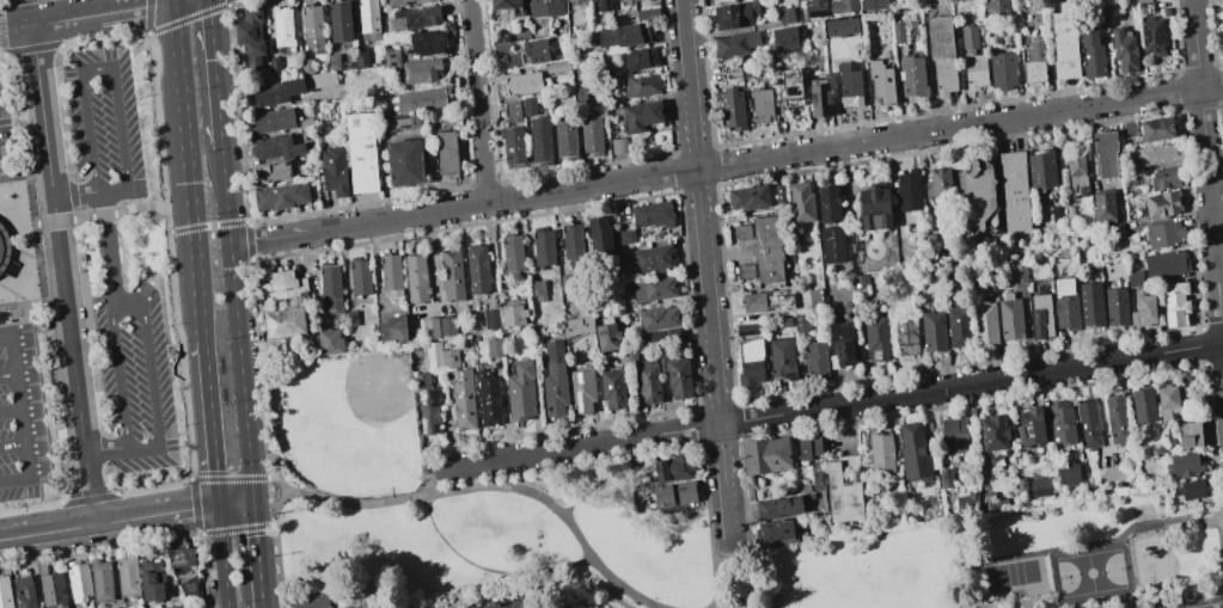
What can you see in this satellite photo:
building: (422, 0)
building: (573, 0)
building: (591, 0)
building: (636, 0)
building: (1142, 0)
building: (396, 2)
building: (505, 4)
building: (875, 4)
park: (5, 5)
building: (603, 5)
building: (843, 6)
building: (995, 6)
traffic signals: (143, 7)
building: (545, 7)
building: (815, 8)
building: (1144, 8)
building: (1221, 12)
building: (647, 13)
building: (740, 14)
building: (785, 14)
road: (87, 16)
traffic signals: (210, 17)
building: (414, 18)
road: (1, 19)
building: (338, 20)
building: (367, 20)
building: (282, 26)
building: (312, 27)
building: (1222, 33)
rooftop solar panel: (1146, 35)
building: (250, 36)
building: (623, 36)
building: (787, 36)
building: (1151, 37)
rooftop solar panel: (417, 39)
rooftop solar panel: (439, 39)
building: (1066, 39)
building: (427, 42)
building: (500, 43)
building: (736, 44)
building: (1124, 49)
building: (528, 53)
building: (944, 53)
building: (1093, 53)
building: (361, 57)
building: (391, 59)
building: (641, 59)
building: (334, 61)
building: (1037, 61)
building: (305, 66)
building: (274, 67)
building: (556, 67)
road: (98, 69)
building: (418, 70)
building: (977, 70)
building: (1003, 70)
road: (214, 74)
building: (915, 75)
building: (323, 79)
building: (883, 82)
building: (521, 84)
building: (643, 86)
building: (794, 86)
building: (851, 86)
building: (275, 92)
building: (821, 98)
building: (422, 99)
road: (478, 102)
building: (764, 104)
building: (527, 106)
building: (735, 109)
building: (512, 111)
building: (644, 117)
building: (271, 121)
building: (397, 121)
parking lot: (104, 124)
building: (305, 124)
parking lot: (6, 125)
building: (1129, 129)
building: (1157, 129)
building: (592, 135)
building: (567, 139)
building: (540, 140)
building: (513, 146)
building: (618, 146)
building: (276, 148)
building: (362, 153)
building: (445, 153)
building: (1107, 154)
building: (1158, 154)
road: (4, 159)
building: (404, 162)
road: (726, 165)
road: (190, 170)
building: (1041, 171)
road: (1207, 171)
building: (271, 172)
building: (334, 172)
building: (1076, 172)
building: (1164, 177)
building: (937, 184)
building: (909, 190)
building: (1015, 191)
road: (88, 192)
building: (779, 192)
building: (980, 194)
building: (281, 196)
building: (747, 197)
building: (827, 203)
building: (801, 205)
building: (1103, 205)
building: (1163, 205)
building: (874, 207)
road: (139, 211)
building: (653, 214)
building: (1056, 214)
building: (1069, 217)
building: (930, 221)
road: (18, 227)
building: (1114, 231)
building: (741, 232)
building: (1162, 234)
building: (599, 235)
building: (625, 237)
road: (60, 238)
building: (929, 239)
road: (18, 244)
building: (571, 244)
building: (831, 244)
road: (110, 245)
building: (542, 247)
building: (768, 248)
building: (513, 253)
building: (6, 254)
building: (650, 259)
building: (1164, 263)
rooftop solar panel: (12, 266)
building: (477, 269)
building: (1016, 270)
building: (746, 271)
road: (705, 272)
road: (158, 274)
building: (391, 275)
building: (452, 275)
building: (360, 277)
building: (416, 278)
building: (1133, 278)
building: (565, 282)
building: (860, 284)
building: (282, 285)
building: (330, 287)
building: (537, 288)
building: (654, 289)
building: (813, 297)
building: (753, 302)
building: (1090, 303)
building: (1174, 303)
building: (1065, 305)
building: (1117, 306)
building: (1143, 311)
building: (513, 312)
road: (163, 313)
building: (1041, 315)
building: (1009, 317)
building: (350, 319)
building: (491, 319)
building: (784, 321)
building: (984, 321)
building: (285, 323)
building: (801, 323)
road: (4, 324)
building: (659, 324)
building: (577, 325)
building: (958, 325)
building: (42, 326)
road: (237, 326)
building: (447, 327)
road: (31, 328)
building: (429, 328)
building: (746, 328)
building: (393, 330)
building: (932, 331)
road: (6, 337)
building: (606, 337)
building: (905, 337)
building: (875, 338)
building: (330, 342)
building: (843, 343)
building: (494, 348)
building: (172, 351)
road: (158, 352)
road: (169, 352)
building: (440, 356)
building: (781, 357)
building: (815, 361)
building: (751, 363)
road: (8, 375)
building: (678, 377)
parking lot: (135, 379)
building: (555, 380)
rooftop solar panel: (579, 382)
building: (647, 383)
building: (612, 389)
building: (581, 391)
building: (520, 392)
rooftop solar panel: (421, 397)
rooftop solar panel: (434, 398)
building: (488, 398)
building: (463, 399)
building: (1167, 401)
rooftop solar panel: (579, 403)
building: (427, 404)
building: (1143, 405)
road: (834, 406)
road: (20, 407)
road: (11, 412)
parking lot: (23, 416)
building: (1115, 419)
park: (347, 423)
building: (1060, 423)
building: (1087, 423)
road: (210, 424)
rooftop solar panel: (435, 428)
building: (1029, 428)
rooftop solar panel: (423, 429)
building: (993, 432)
building: (953, 434)
building: (1190, 435)
road: (13, 446)
building: (808, 447)
road: (148, 448)
road: (106, 449)
building: (1157, 449)
building: (880, 452)
building: (913, 452)
building: (765, 455)
road: (166, 456)
building: (1184, 465)
building: (673, 467)
building: (1068, 473)
building: (1111, 474)
building: (817, 475)
building: (944, 477)
road: (16, 479)
road: (605, 480)
building: (1020, 485)
road: (91, 487)
road: (198, 487)
road: (478, 487)
building: (1039, 487)
building: (1190, 489)
building: (843, 491)
building: (674, 495)
building: (987, 500)
building: (967, 502)
traffic signals: (252, 503)
road: (236, 504)
building: (1170, 504)
traffic signals: (219, 506)
building: (640, 506)
building: (778, 508)
road: (109, 523)
park: (659, 527)
building: (776, 533)
road: (1082, 546)
road: (257, 554)
road: (222, 557)
road: (473, 566)
building: (184, 569)
park: (860, 571)
park: (1093, 572)
park: (1014, 573)
building: (127, 576)
road: (735, 577)
building: (78, 581)
building: (100, 581)
building: (51, 588)
building: (151, 588)
building: (23, 592)
building: (5, 594)
road: (1144, 595)
building: (308, 601)
road: (974, 602)
building: (515, 603)
building: (561, 603)
road: (1206, 604)

